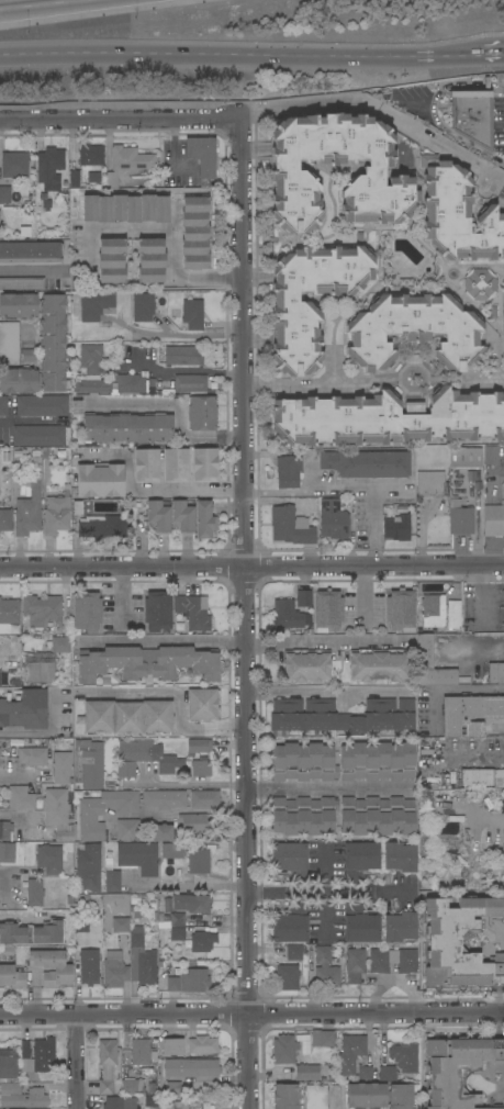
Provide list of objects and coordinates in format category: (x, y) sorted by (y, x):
road: (486, 52)
road: (205, 55)
road: (440, 55)
road: (379, 111)
road: (433, 111)
building: (472, 115)
road: (120, 120)
building: (90, 155)
building: (202, 155)
building: (128, 159)
building: (14, 165)
building: (49, 168)
building: (288, 172)
building: (74, 179)
building: (4, 194)
building: (125, 209)
building: (457, 214)
road: (170, 228)
building: (194, 233)
building: (30, 253)
building: (149, 260)
building: (111, 261)
road: (30, 272)
building: (22, 283)
building: (479, 284)
building: (18, 305)
building: (94, 305)
building: (143, 306)
building: (294, 311)
building: (503, 311)
building: (192, 314)
building: (413, 331)
road: (187, 335)
building: (8, 343)
building: (52, 343)
building: (27, 355)
building: (182, 356)
building: (90, 358)
road: (500, 359)
road: (334, 368)
road: (182, 371)
building: (18, 380)
road: (488, 380)
building: (130, 383)
building: (190, 383)
building: (91, 384)
road: (302, 385)
building: (41, 405)
building: (3, 406)
road: (173, 410)
building: (201, 413)
road: (31, 418)
building: (389, 418)
building: (126, 427)
building: (38, 436)
building: (491, 455)
building: (464, 457)
building: (366, 463)
building: (204, 464)
building: (146, 466)
building: (175, 466)
building: (288, 471)
building: (99, 481)
building: (429, 483)
road: (188, 490)
road: (345, 493)
building: (77, 507)
building: (27, 512)
building: (56, 514)
building: (157, 517)
building: (181, 517)
building: (459, 517)
building: (333, 519)
building: (493, 519)
building: (5, 520)
building: (203, 520)
building: (101, 526)
building: (290, 526)
building: (397, 528)
road: (251, 565)
building: (303, 597)
building: (42, 610)
building: (157, 610)
building: (192, 610)
building: (327, 610)
building: (400, 610)
building: (433, 610)
building: (9, 612)
building: (87, 612)
building: (452, 613)
road: (244, 614)
building: (285, 615)
road: (163, 640)
road: (322, 642)
building: (44, 660)
building: (147, 662)
building: (430, 664)
building: (306, 665)
building: (379, 665)
building: (495, 673)
building: (2, 679)
building: (14, 682)
road: (471, 690)
road: (325, 691)
road: (180, 698)
building: (202, 704)
building: (25, 709)
building: (469, 714)
building: (341, 716)
building: (126, 717)
road: (46, 731)
building: (198, 746)
road: (475, 752)
building: (32, 757)
building: (143, 758)
building: (376, 761)
building: (302, 762)
building: (88, 763)
building: (200, 766)
building: (61, 768)
road: (18, 777)
building: (482, 777)
road: (187, 785)
road: (328, 787)
building: (20, 797)
building: (204, 798)
building: (165, 799)
building: (427, 799)
building: (55, 807)
building: (101, 810)
road: (21, 815)
building: (302, 815)
building: (377, 816)
building: (193, 824)
building: (5, 829)
building: (127, 830)
building: (163, 832)
building: (64, 837)
building: (171, 851)
building: (7, 853)
building: (399, 856)
building: (138, 858)
building: (49, 859)
building: (290, 860)
building: (359, 860)
building: (195, 863)
building: (87, 867)
road: (325, 870)
road: (8, 876)
building: (112, 882)
road: (189, 882)
building: (503, 883)
road: (333, 892)
building: (34, 893)
building: (191, 903)
building: (177, 919)
building: (120, 921)
building: (359, 923)
building: (290, 925)
building: (400, 927)
building: (177, 933)
building: (81, 939)
building: (201, 941)
building: (464, 941)
building: (8, 951)
building: (293, 952)
building: (141, 959)
building: (392, 961)
building: (355, 964)
building: (88, 966)
building: (325, 968)
building: (63, 970)
building: (114, 970)
building: (12, 977)
building: (287, 977)
building: (188, 982)
road: (251, 1012)
building: (322, 1038)
building: (202, 1045)
building: (171, 1046)
building: (24, 1049)
building: (283, 1049)
building: (139, 1052)
building: (350, 1053)
building: (43, 1055)
building: (404, 1056)
road: (76, 1061)
building: (8, 1064)
building: (105, 1065)
building: (190, 1067)
building: (458, 1068)
building: (306, 1072)
building: (365, 1072)
building: (387, 1074)
building: (132, 1087)
building: (171, 1089)
building: (366, 1095)
building: (21, 1096)
building: (284, 1096)
building: (400, 1096)
building: (315, 1097)
building: (150, 1100)
building: (119, 1102)
building: (175, 1105)
building: (492, 1108)

